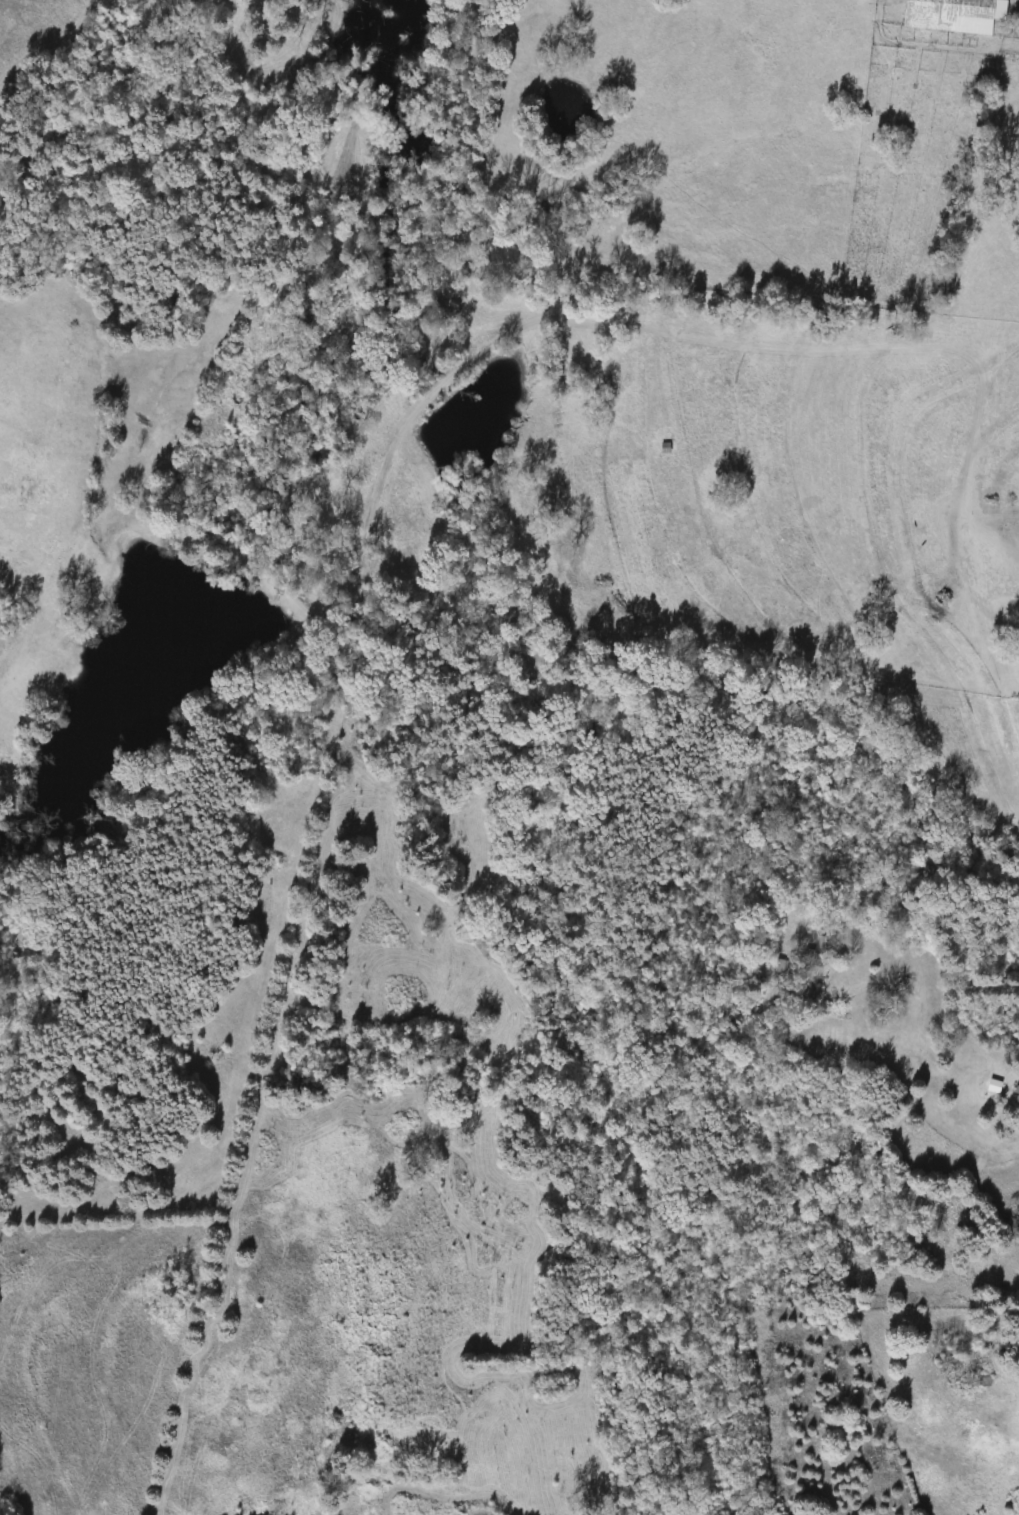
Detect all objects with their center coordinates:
building: (956, 15)
building: (822, 944)

